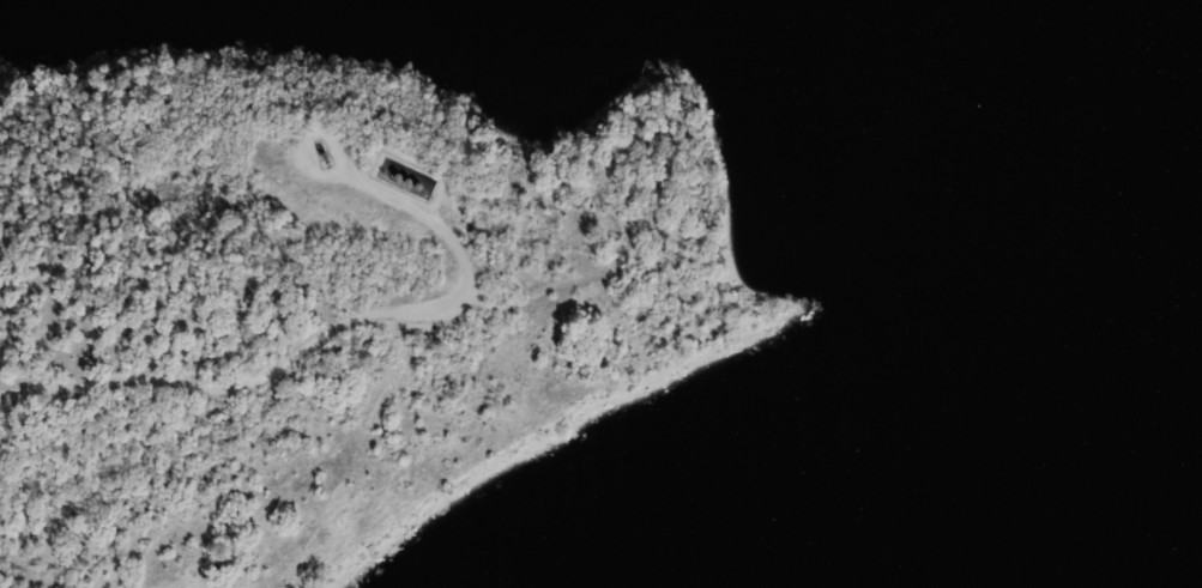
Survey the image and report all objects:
park: (527, 286)
road: (332, 329)

